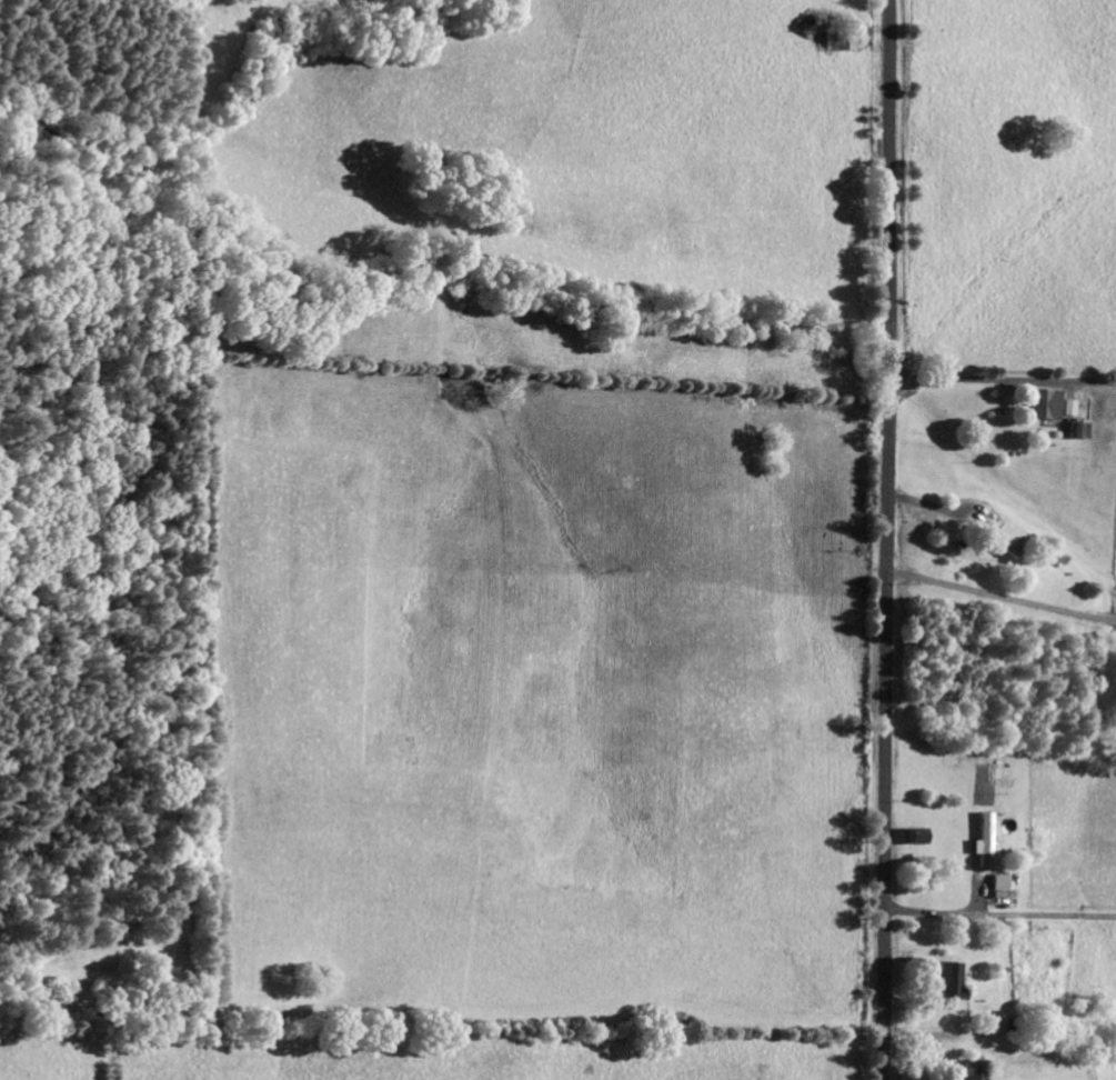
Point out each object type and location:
building: (1046, 404)
building: (1082, 430)
road: (884, 539)
building: (916, 836)
building: (983, 840)
building: (999, 882)
building: (948, 982)
building: (974, 1070)

